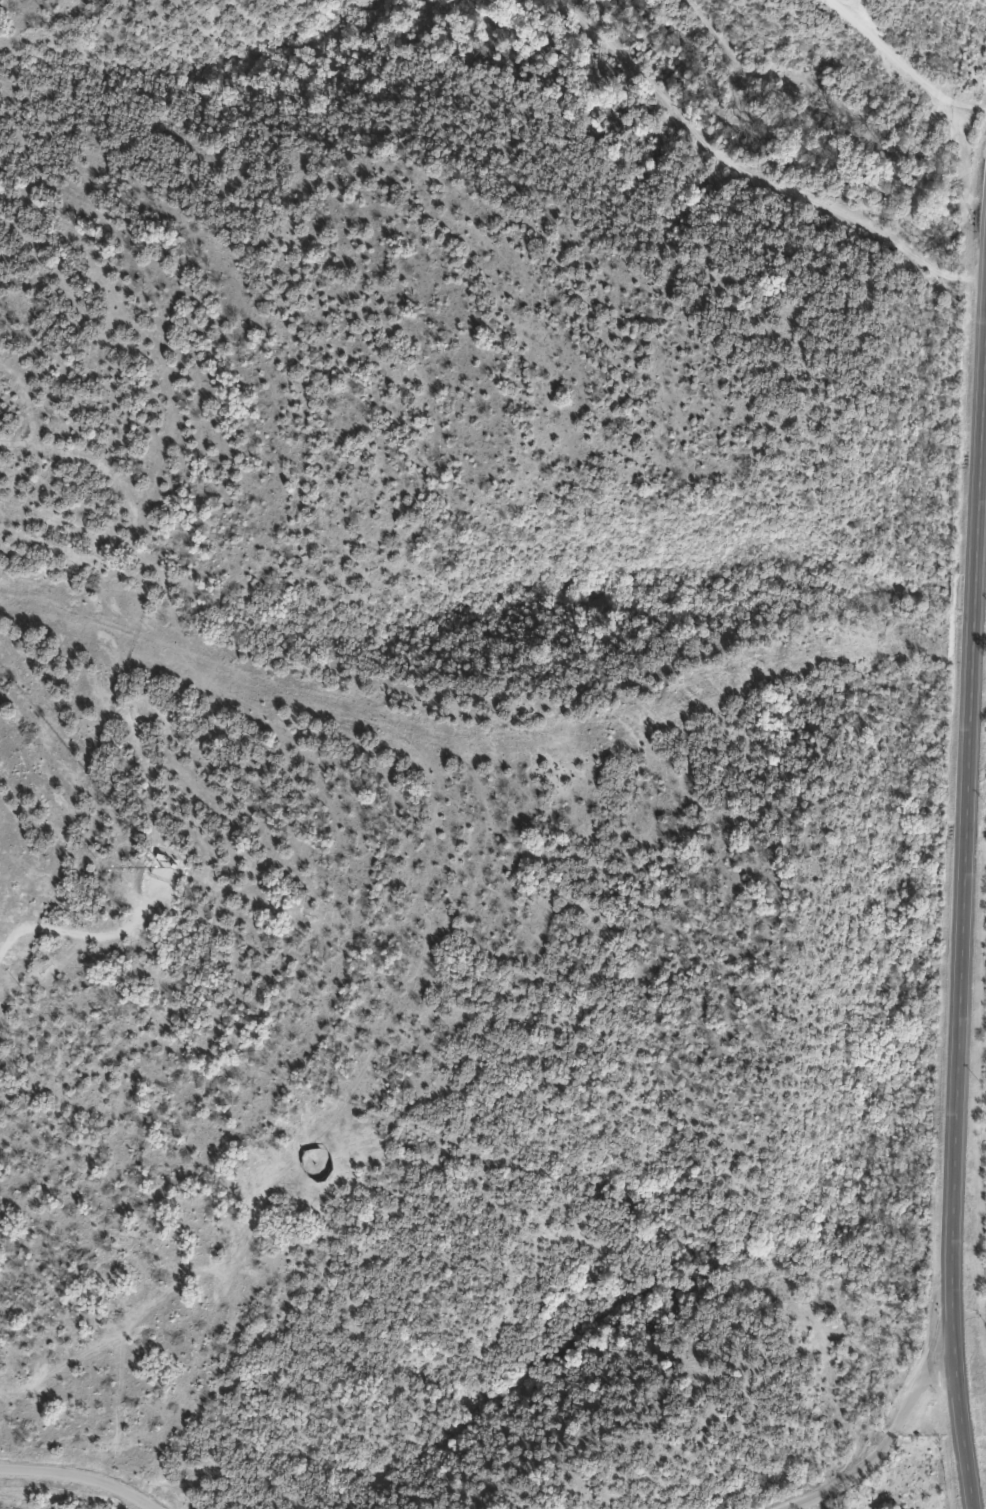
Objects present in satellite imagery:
road: (904, 65)
road: (972, 879)
road: (891, 1442)

